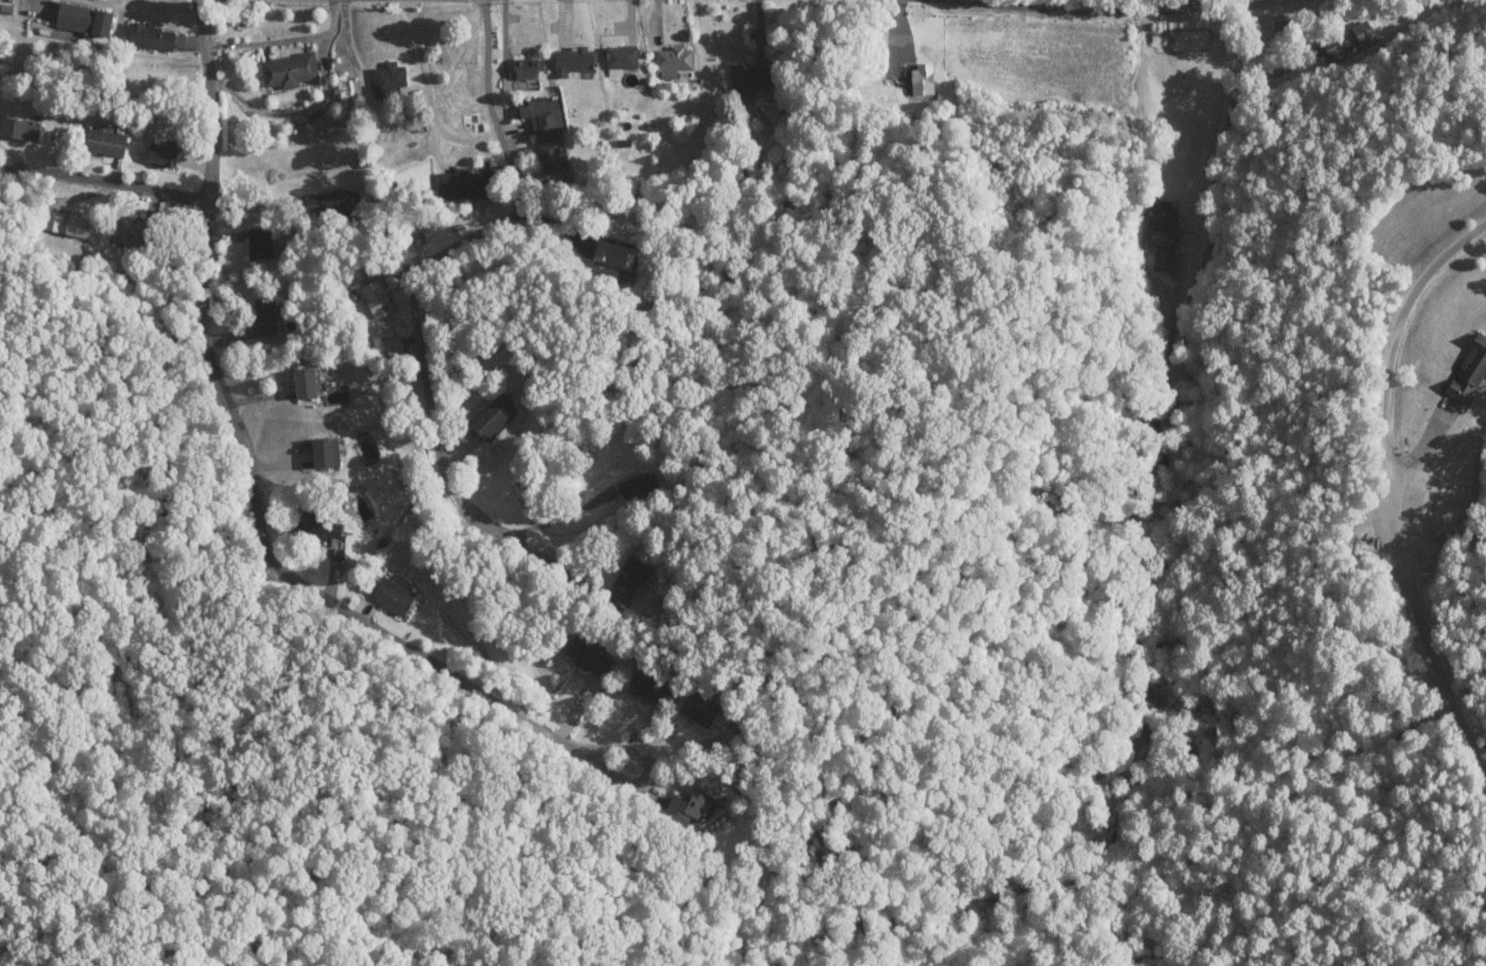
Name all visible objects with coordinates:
road: (1194, 3)
road: (1104, 8)
building: (82, 19)
building: (149, 38)
building: (1345, 39)
building: (619, 57)
building: (670, 59)
building: (572, 61)
building: (526, 68)
building: (287, 70)
building: (747, 79)
building: (919, 79)
building: (18, 129)
building: (543, 130)
road: (1208, 131)
building: (103, 142)
building: (161, 155)
road: (103, 180)
building: (69, 225)
building: (122, 234)
building: (1161, 236)
building: (258, 250)
building: (611, 254)
road: (433, 256)
road: (583, 284)
building: (263, 317)
building: (1467, 370)
building: (303, 384)
building: (490, 419)
road: (244, 459)
building: (634, 486)
road: (1392, 509)
building: (316, 526)
building: (628, 578)
building: (392, 597)
building: (586, 658)
building: (646, 688)
building: (697, 708)
road: (581, 752)
building: (687, 805)

